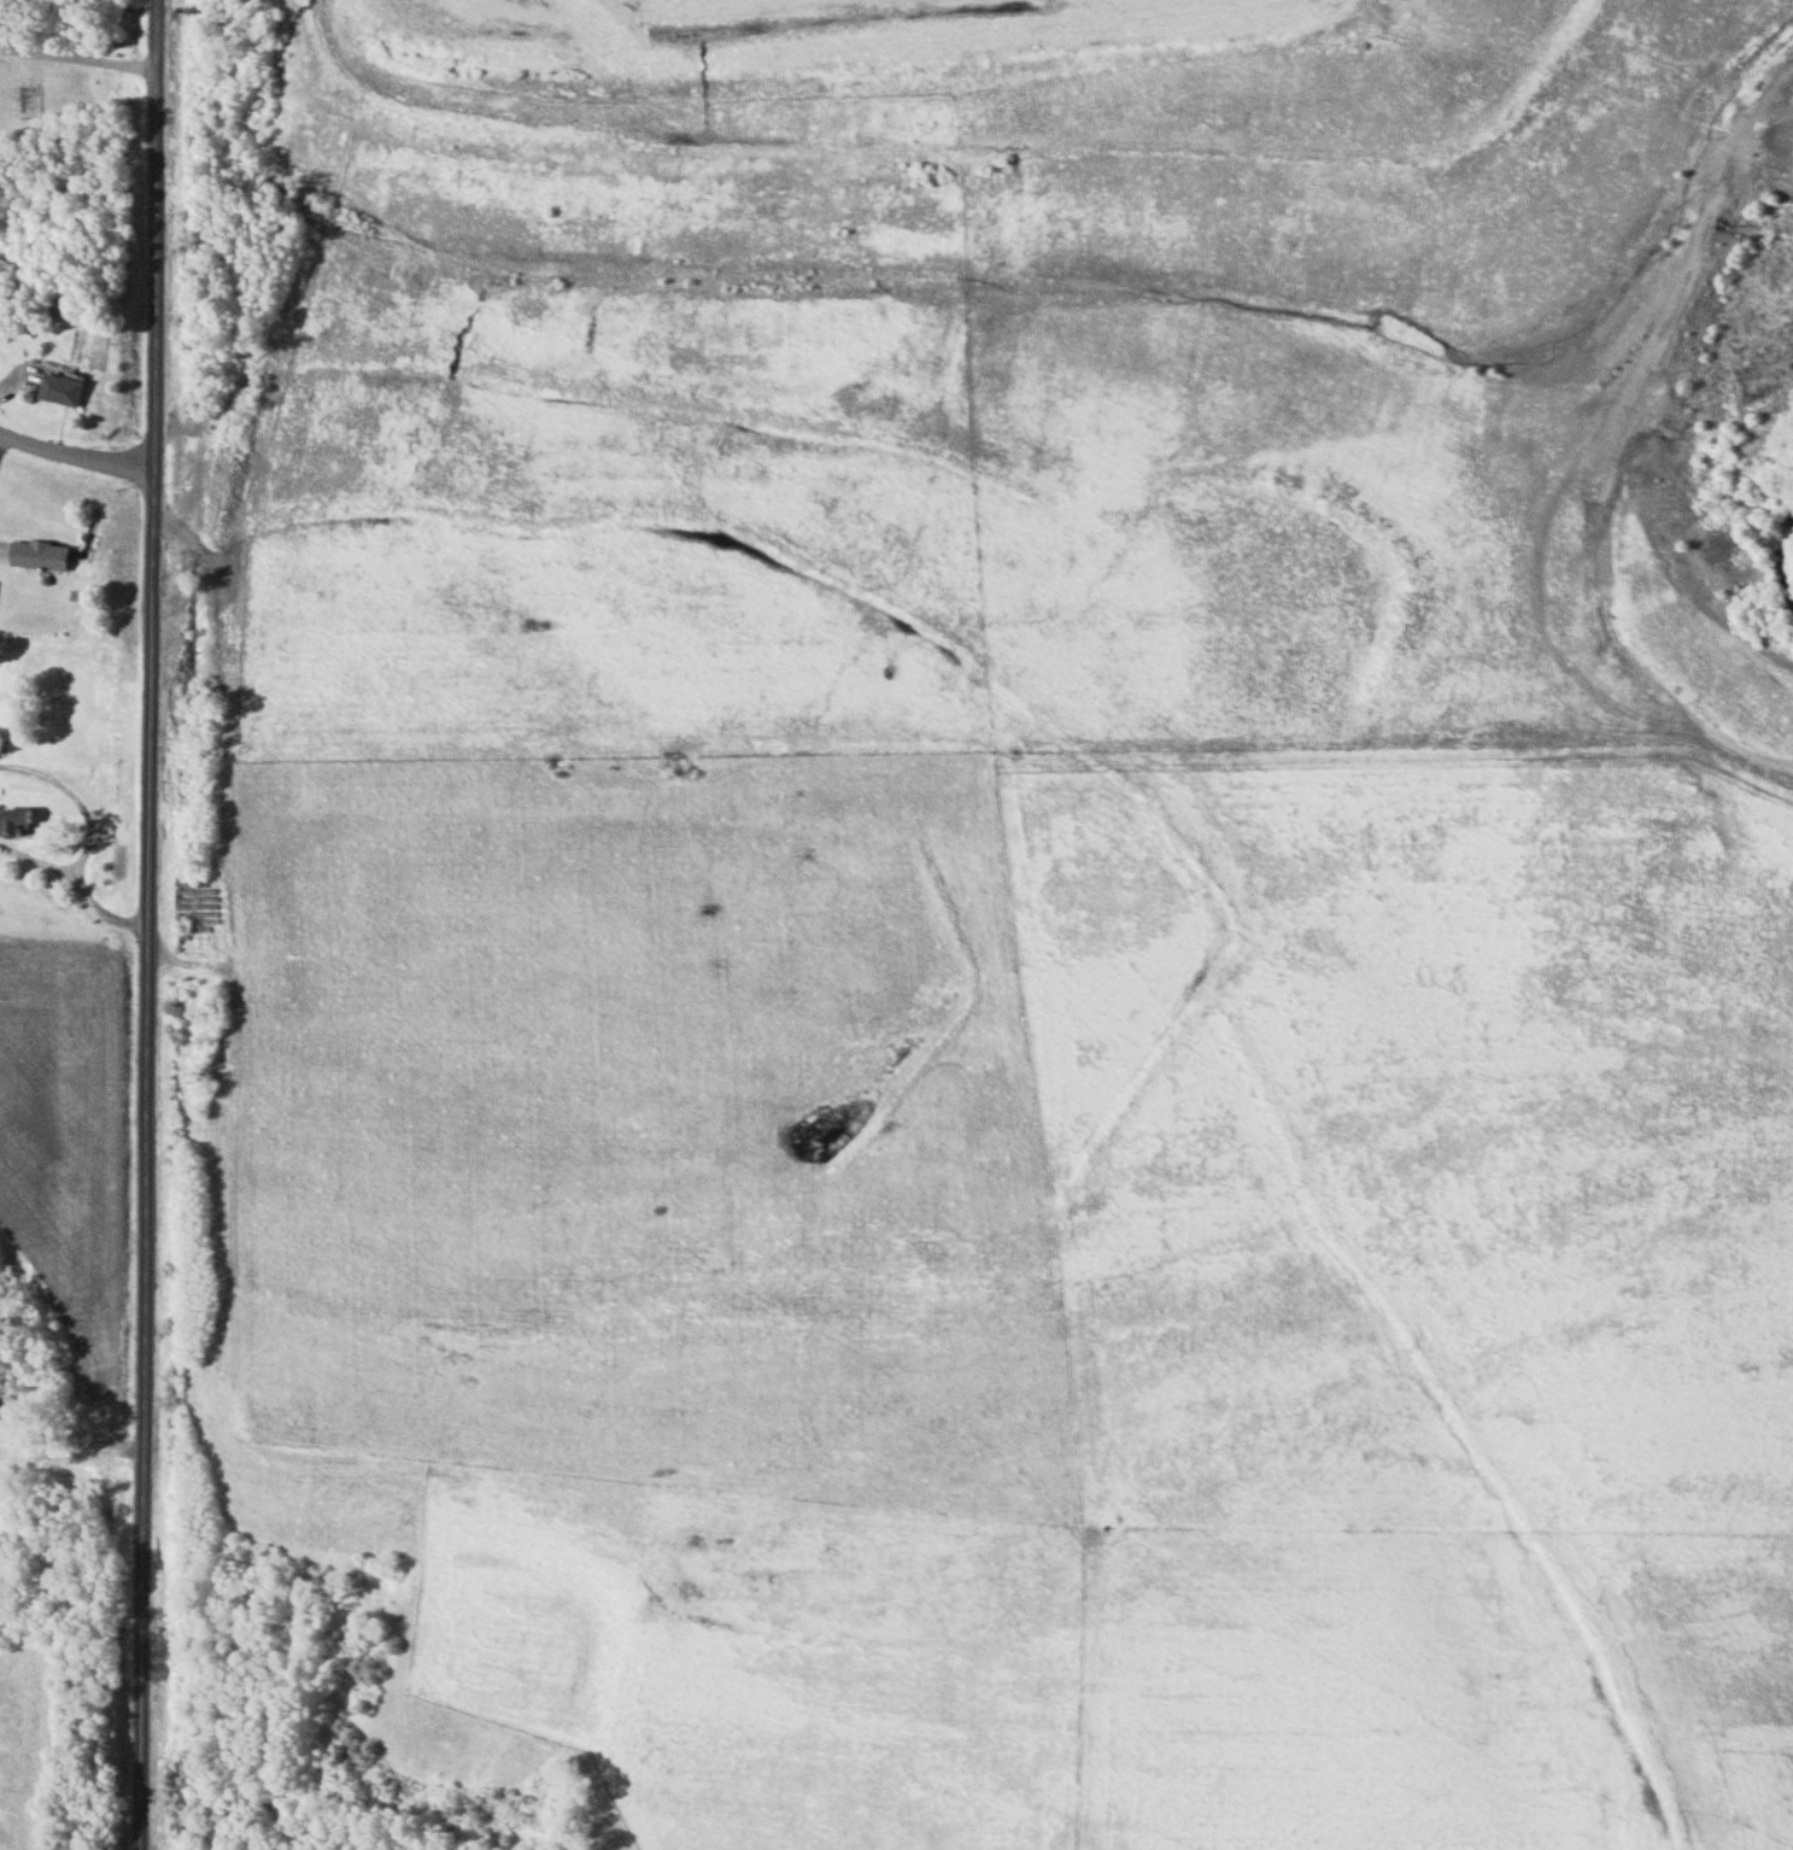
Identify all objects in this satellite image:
road: (80, 59)
building: (65, 305)
building: (59, 390)
road: (76, 457)
road: (1652, 543)
building: (39, 556)
road: (131, 819)
building: (14, 822)
road: (105, 827)
road: (152, 924)

